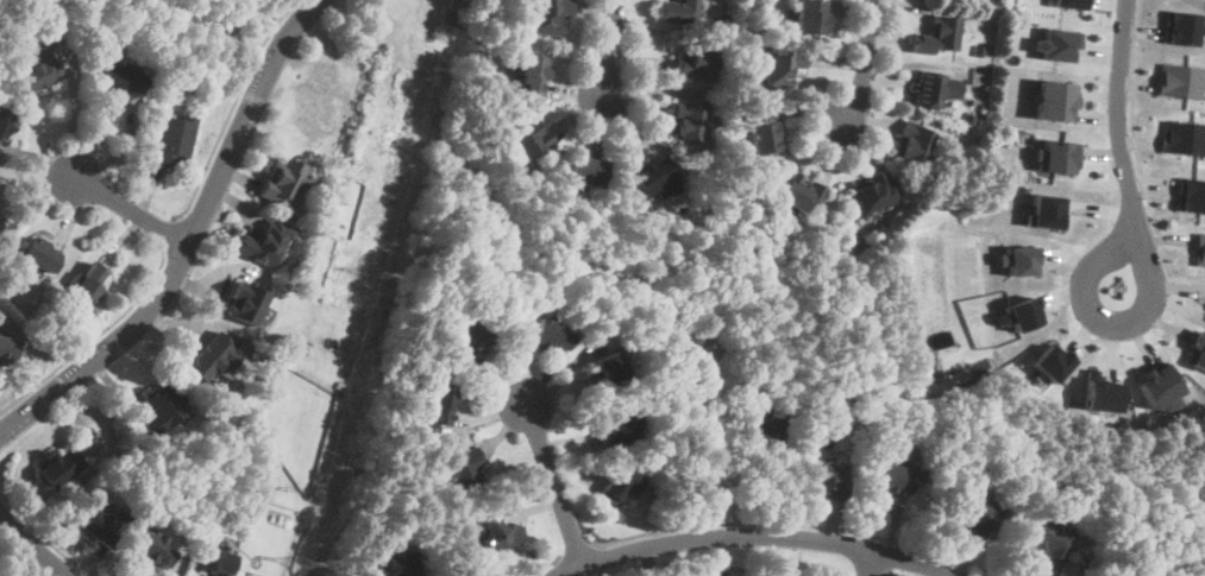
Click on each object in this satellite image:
building: (1072, 2)
building: (680, 11)
road: (236, 12)
building: (546, 15)
building: (810, 17)
building: (1185, 26)
building: (937, 36)
building: (1057, 43)
road: (605, 48)
building: (695, 61)
road: (860, 64)
building: (777, 68)
building: (36, 70)
building: (526, 72)
building: (117, 78)
building: (1182, 80)
building: (936, 91)
building: (1054, 100)
road: (230, 109)
road: (1134, 110)
road: (1116, 113)
building: (4, 120)
building: (685, 124)
building: (761, 131)
building: (1184, 137)
building: (527, 139)
building: (172, 141)
building: (911, 144)
building: (1055, 156)
building: (585, 173)
building: (653, 178)
building: (284, 183)
building: (799, 194)
building: (1192, 194)
building: (870, 195)
road: (132, 210)
building: (1046, 210)
building: (0, 221)
road: (169, 232)
road: (190, 240)
building: (264, 243)
building: (1199, 248)
building: (38, 255)
building: (1017, 259)
power tower: (379, 273)
building: (86, 286)
building: (245, 303)
building: (1018, 312)
road: (1107, 322)
road: (95, 335)
building: (548, 335)
building: (467, 343)
building: (8, 350)
building: (1197, 350)
building: (209, 360)
building: (1049, 360)
building: (607, 367)
building: (1157, 384)
building: (1099, 391)
building: (435, 405)
building: (162, 409)
building: (764, 424)
building: (615, 426)
building: (56, 467)
building: (465, 470)
building: (892, 477)
building: (824, 479)
road: (554, 482)
building: (619, 485)
power tower: (282, 488)
building: (969, 515)
road: (742, 520)
building: (98, 523)
road: (749, 534)
road: (48, 536)
building: (502, 537)
road: (37, 544)
building: (1046, 544)
building: (152, 549)
road: (576, 551)
road: (890, 555)
building: (214, 562)
road: (867, 563)
building: (396, 564)
road: (539, 566)
road: (887, 572)

